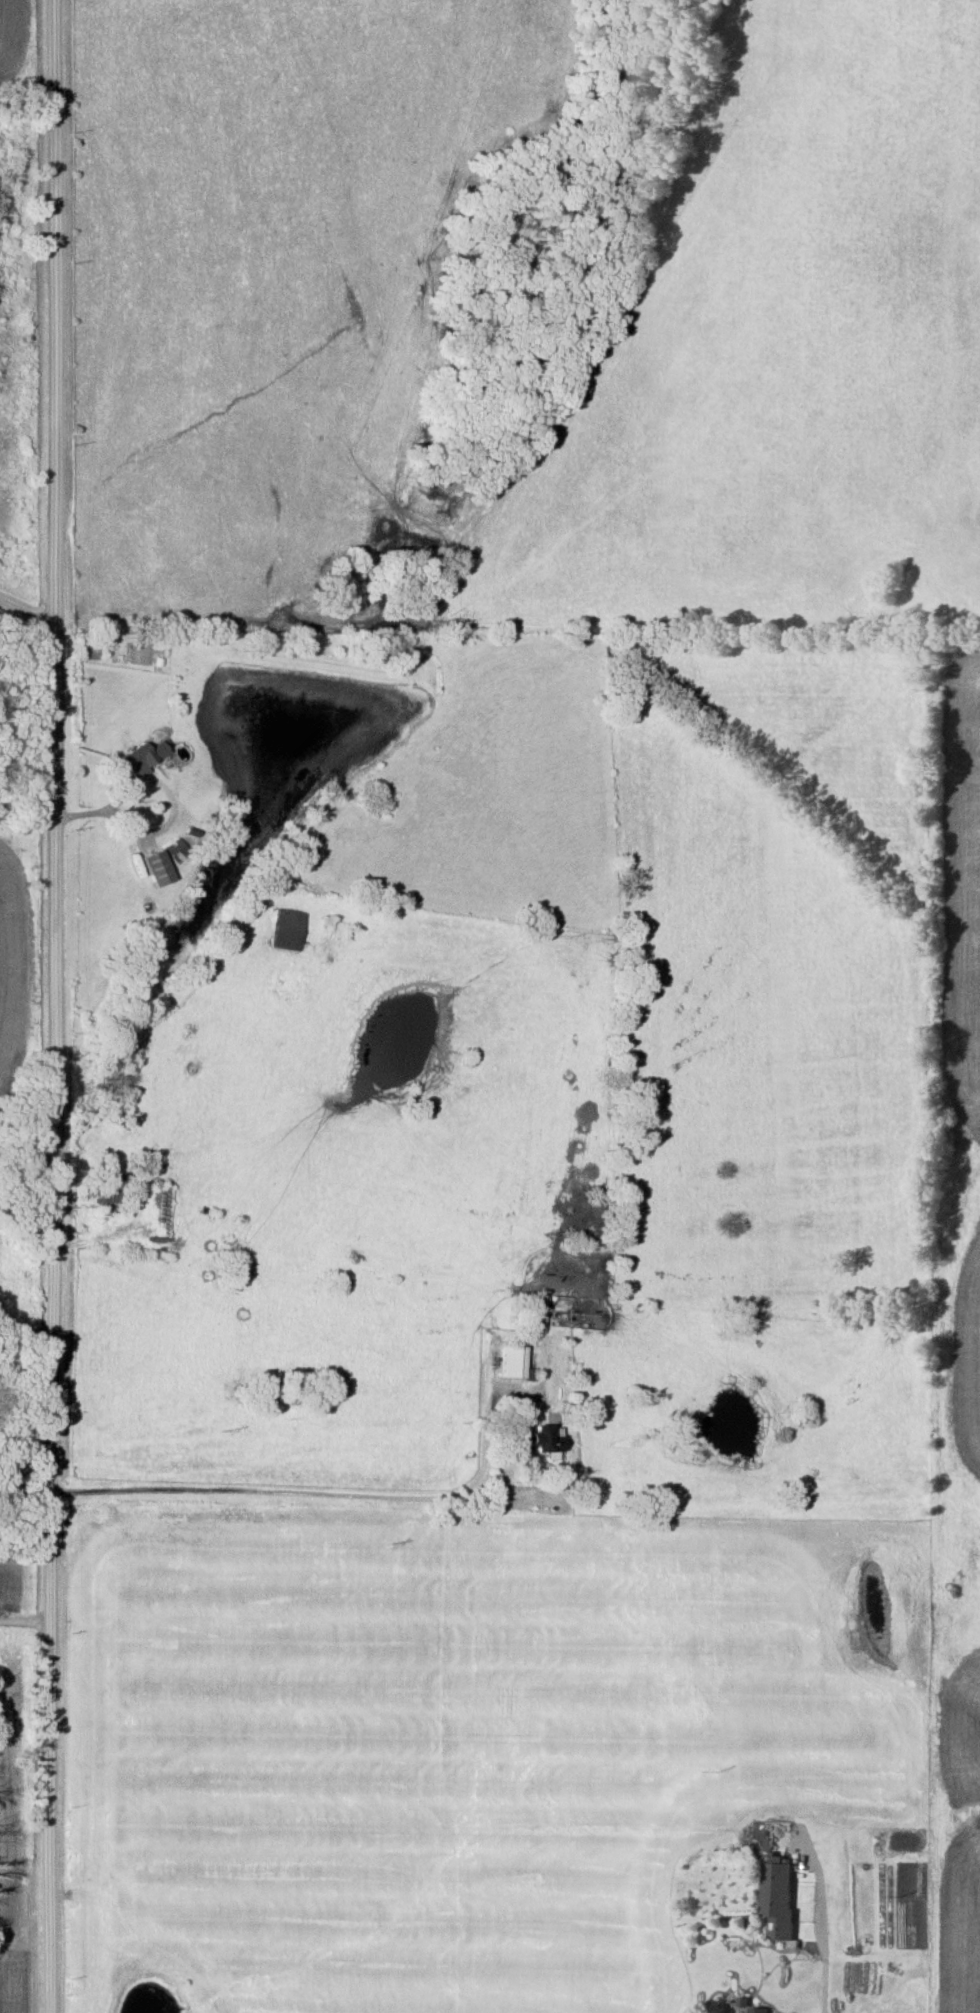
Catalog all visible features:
road: (30, 590)
building: (144, 757)
building: (175, 849)
building: (154, 868)
building: (288, 929)
road: (60, 1006)
building: (108, 1194)
building: (532, 1314)
road: (251, 1318)
building: (510, 1362)
power tower: (217, 1434)
building: (542, 1441)
road: (340, 1493)
power tower: (383, 1547)
road: (29, 1627)
power tower: (710, 1773)
building: (773, 1897)
power tower: (894, 1899)
road: (820, 1956)
building: (756, 2010)

